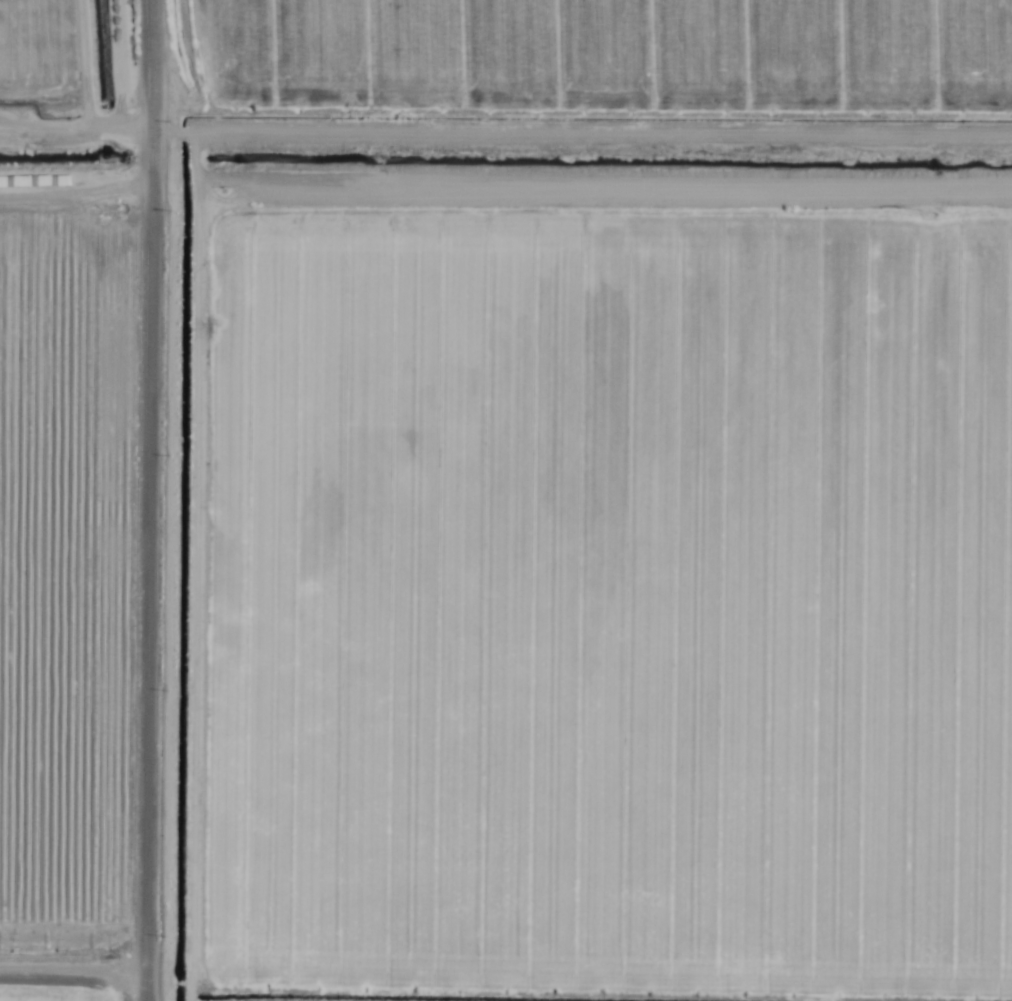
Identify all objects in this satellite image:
road: (155, 500)

